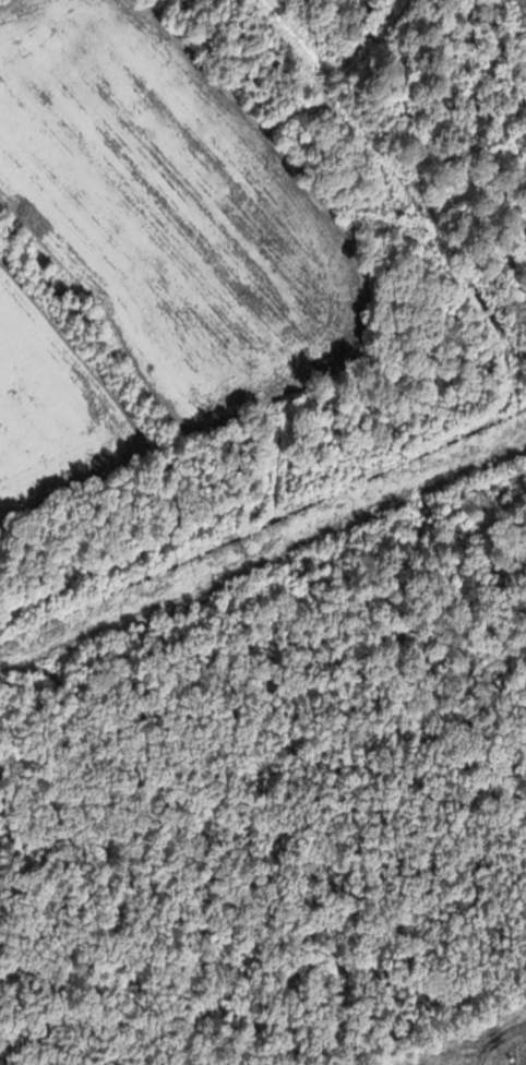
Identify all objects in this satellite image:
power tower: (246, 551)

